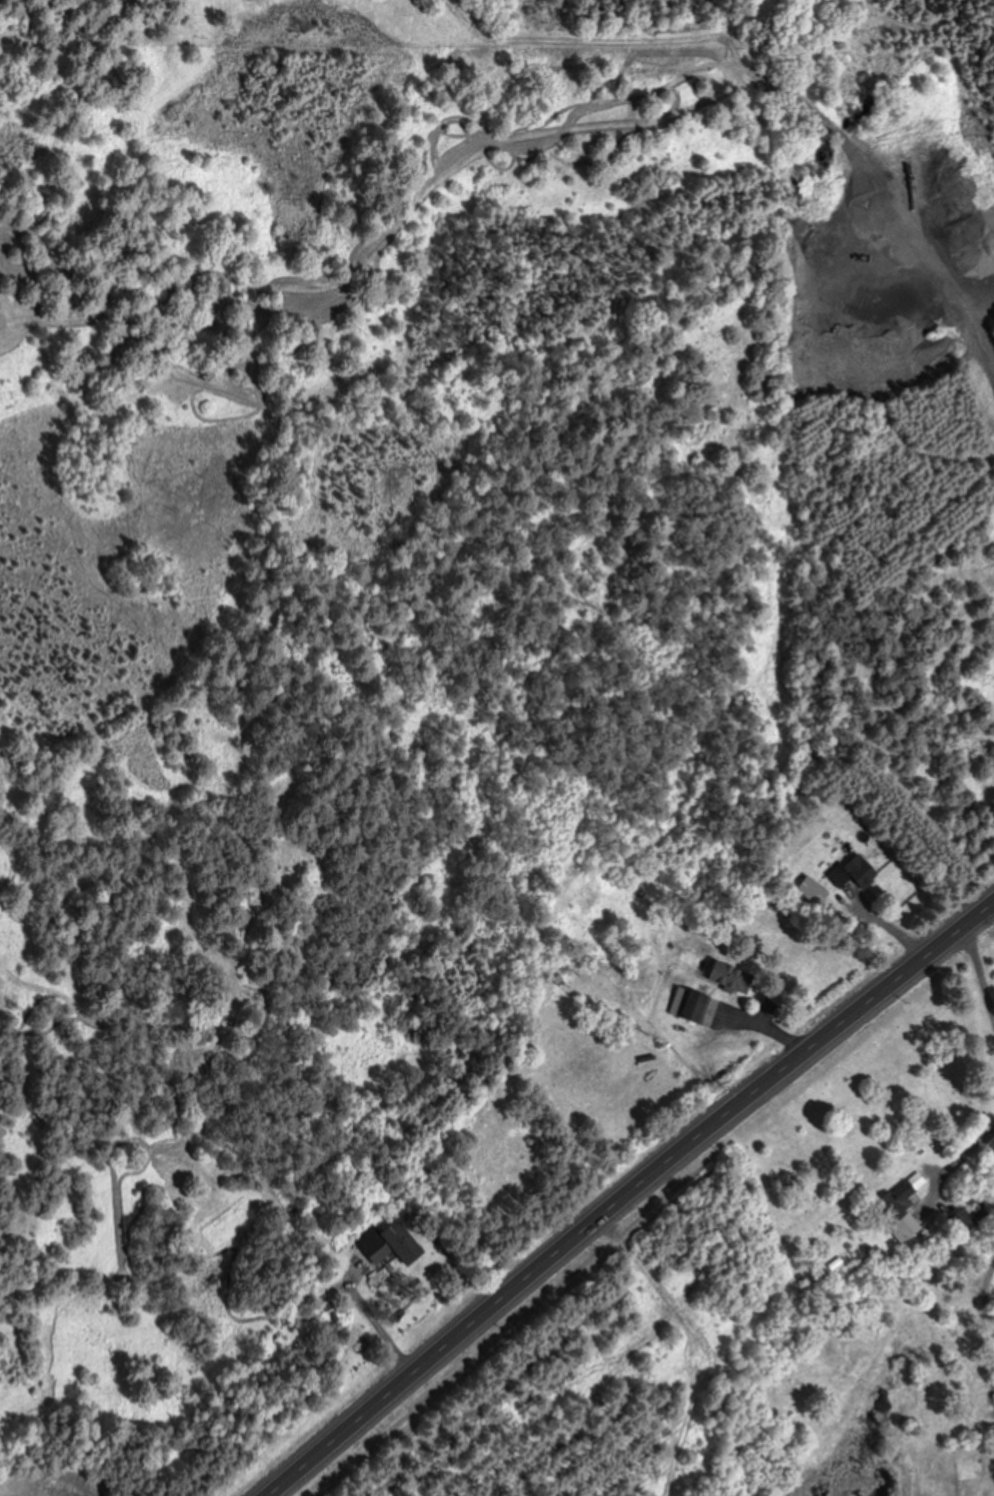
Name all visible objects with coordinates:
building: (853, 871)
building: (727, 975)
road: (980, 978)
building: (689, 1003)
road: (633, 1198)
building: (899, 1207)
building: (963, 1221)
building: (388, 1241)
road: (966, 1317)

